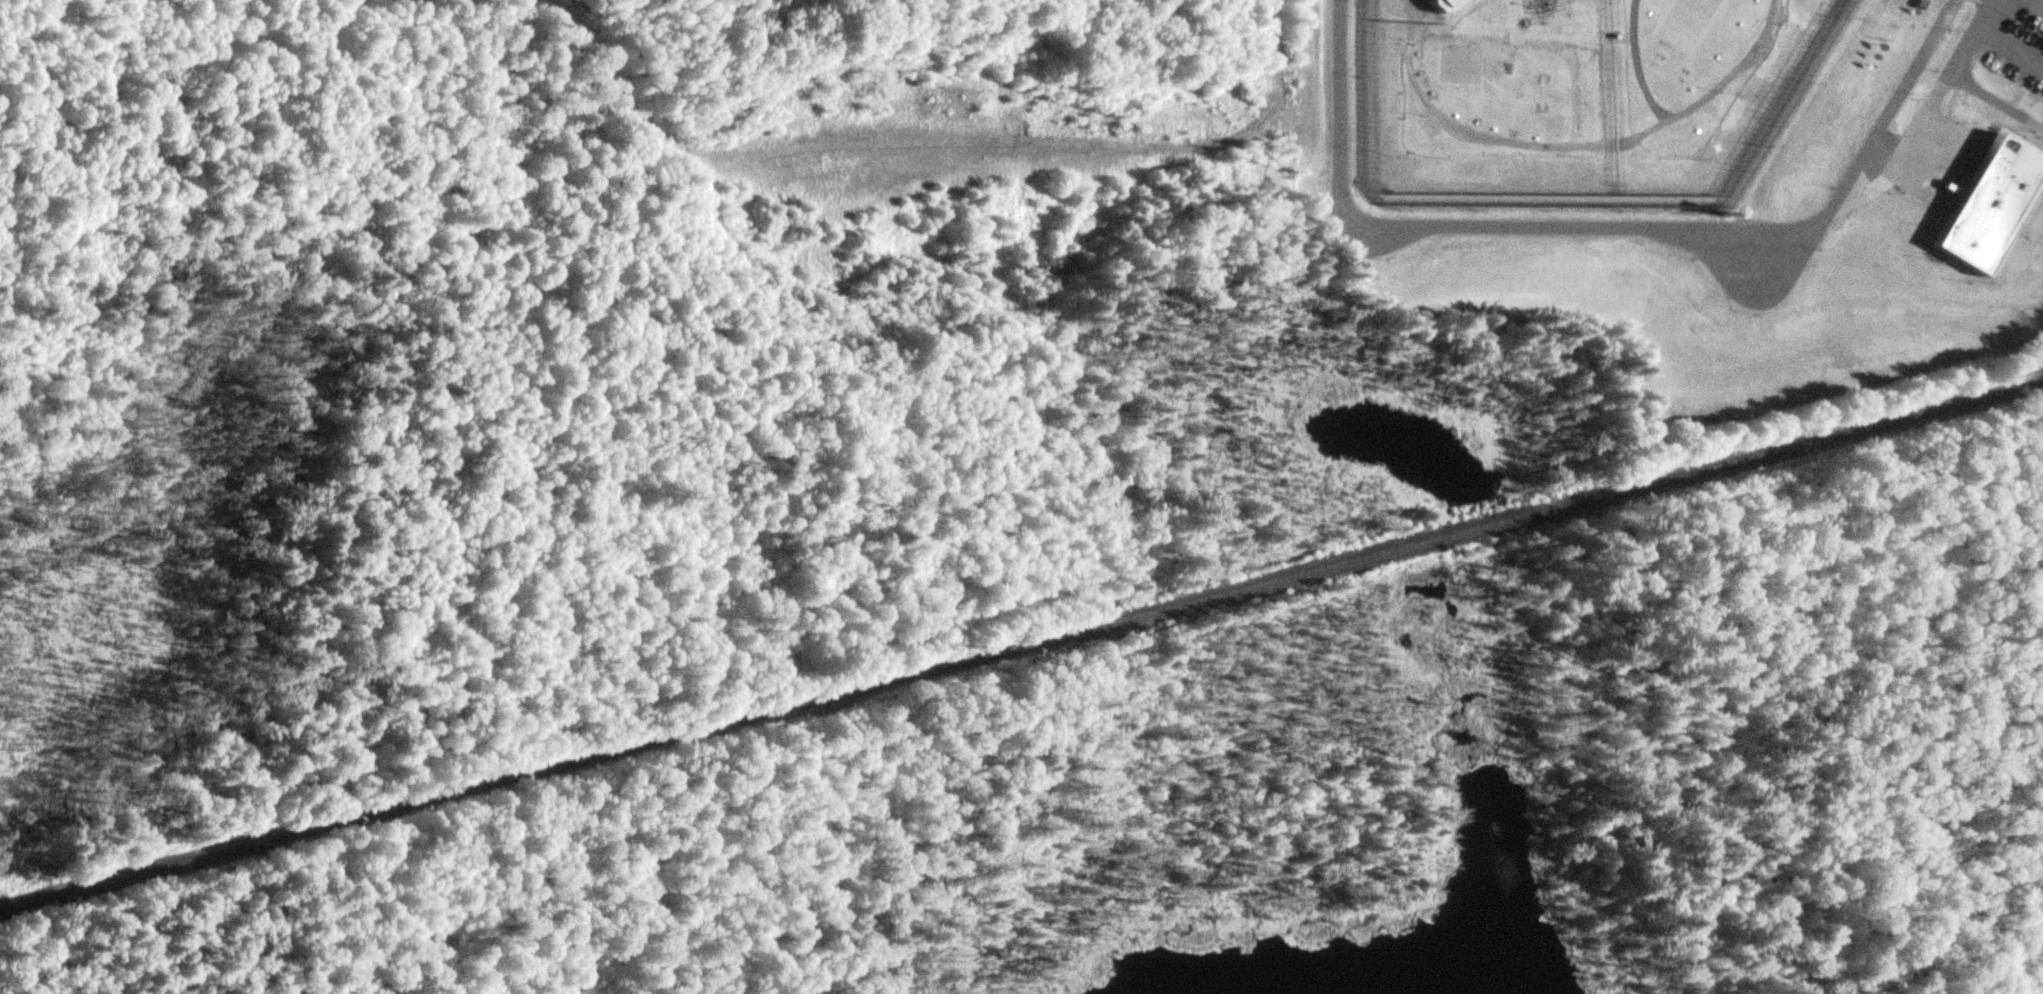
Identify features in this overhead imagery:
building: (1921, 2)
building: (1445, 3)
road: (1972, 44)
parking lot: (2021, 49)
road: (915, 149)
building: (1997, 205)
road: (1604, 233)
railway: (1021, 648)

